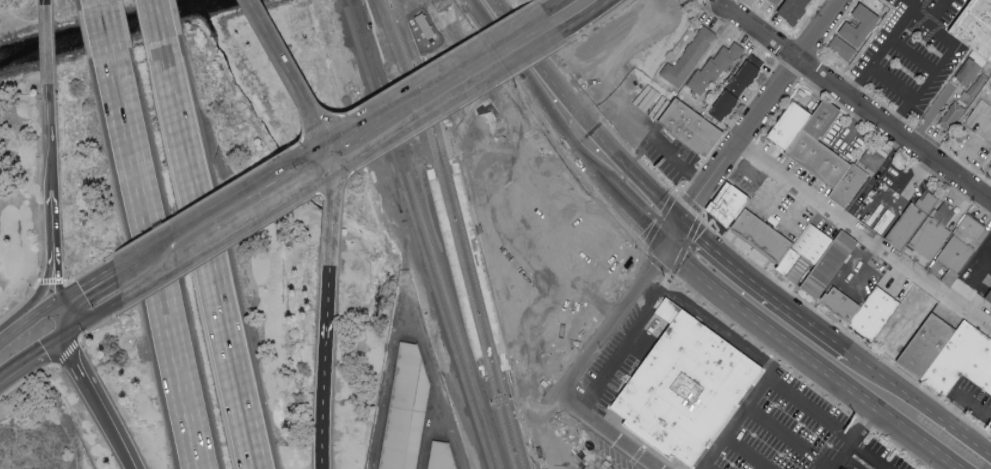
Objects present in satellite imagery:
railway: (352, 2)
building: (777, 2)
road: (92, 3)
road: (45, 4)
railway: (343, 5)
road: (729, 5)
road: (550, 6)
road: (913, 6)
building: (797, 9)
road: (933, 14)
road: (577, 16)
road: (667, 19)
road: (600, 22)
road: (152, 24)
building: (862, 25)
building: (978, 25)
building: (423, 26)
road: (930, 31)
road: (100, 36)
road: (785, 36)
road: (48, 47)
building: (843, 48)
road: (913, 56)
building: (690, 57)
road: (280, 65)
building: (713, 70)
building: (969, 70)
road: (429, 72)
road: (893, 84)
building: (740, 85)
road: (438, 97)
road: (531, 97)
road: (858, 107)
road: (459, 108)
road: (762, 110)
road: (467, 111)
building: (952, 115)
road: (932, 116)
road: (577, 117)
building: (795, 126)
road: (989, 126)
building: (689, 128)
road: (854, 128)
traffic signals: (317, 132)
road: (52, 139)
parking lot: (649, 142)
road: (660, 143)
road: (976, 143)
building: (824, 147)
road: (321, 148)
road: (544, 161)
road: (456, 162)
traffic signals: (325, 165)
road: (524, 166)
road: (911, 169)
road: (504, 170)
road: (751, 175)
road: (484, 176)
road: (470, 180)
building: (860, 180)
road: (335, 184)
road: (660, 184)
road: (228, 190)
road: (989, 197)
road: (687, 205)
building: (732, 205)
road: (252, 210)
road: (452, 210)
road: (332, 215)
road: (637, 215)
road: (652, 215)
parking lot: (524, 216)
road: (774, 217)
road: (55, 219)
traffic signals: (679, 220)
building: (915, 223)
railway: (453, 232)
railway: (462, 233)
road: (671, 233)
building: (936, 235)
railway: (426, 237)
building: (767, 237)
road: (862, 238)
railway: (417, 239)
road: (634, 242)
traffic signals: (664, 246)
building: (816, 246)
building: (965, 246)
road: (686, 247)
road: (597, 251)
road: (216, 253)
road: (124, 256)
road: (202, 259)
road: (655, 266)
building: (834, 266)
road: (149, 268)
road: (865, 268)
road: (487, 271)
building: (559, 271)
road: (56, 272)
road: (152, 273)
road: (83, 281)
road: (406, 282)
road: (975, 284)
road: (43, 285)
road: (645, 288)
road: (762, 289)
traffic signals: (57, 297)
building: (990, 297)
building: (990, 299)
building: (844, 307)
road: (40, 308)
road: (93, 312)
road: (327, 312)
road: (59, 315)
road: (645, 316)
building: (878, 316)
road: (609, 323)
road: (12, 326)
road: (95, 327)
road: (482, 327)
traffic signals: (62, 333)
building: (904, 336)
road: (66, 342)
road: (645, 342)
building: (930, 347)
road: (762, 349)
road: (67, 354)
road: (808, 359)
road: (31, 360)
road: (764, 361)
building: (964, 362)
road: (531, 363)
road: (514, 368)
road: (505, 370)
railway: (510, 374)
road: (608, 377)
road: (27, 378)
railway: (487, 380)
building: (685, 389)
road: (964, 400)
road: (919, 407)
road: (100, 410)
road: (323, 412)
building: (405, 412)
road: (866, 423)
road: (430, 425)
road: (821, 425)
road: (863, 428)
road: (602, 429)
road: (789, 437)
road: (901, 449)
road: (573, 450)
parking lot: (572, 451)
road: (749, 452)
road: (841, 457)
building: (441, 458)
road: (710, 466)

